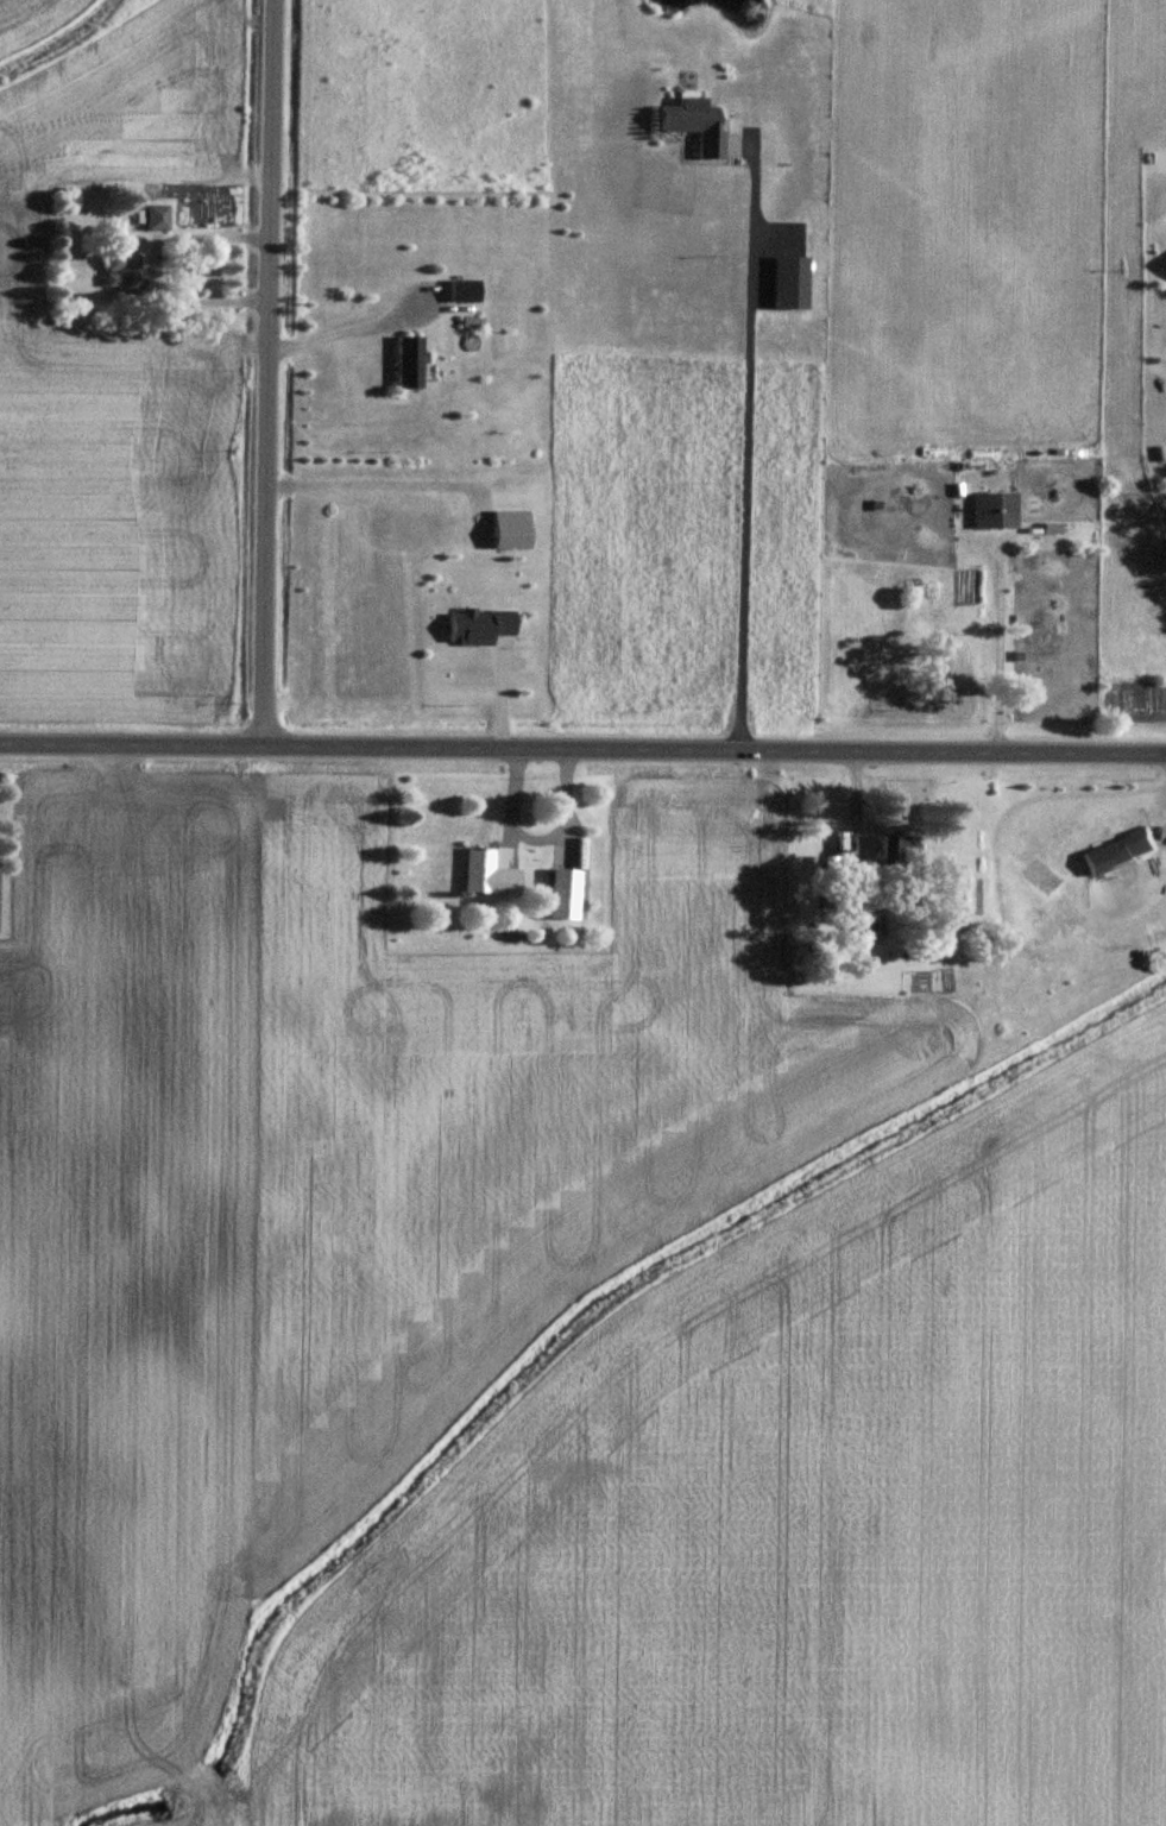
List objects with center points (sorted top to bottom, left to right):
building: (693, 127)
building: (158, 219)
road: (155, 269)
building: (122, 273)
building: (792, 284)
building: (464, 291)
road: (341, 335)
building: (408, 363)
road: (273, 376)
road: (748, 453)
road: (397, 484)
building: (997, 511)
road: (1164, 514)
building: (510, 531)
building: (480, 628)
road: (582, 754)
building: (897, 849)
building: (1121, 854)
building: (489, 876)
building: (561, 895)

